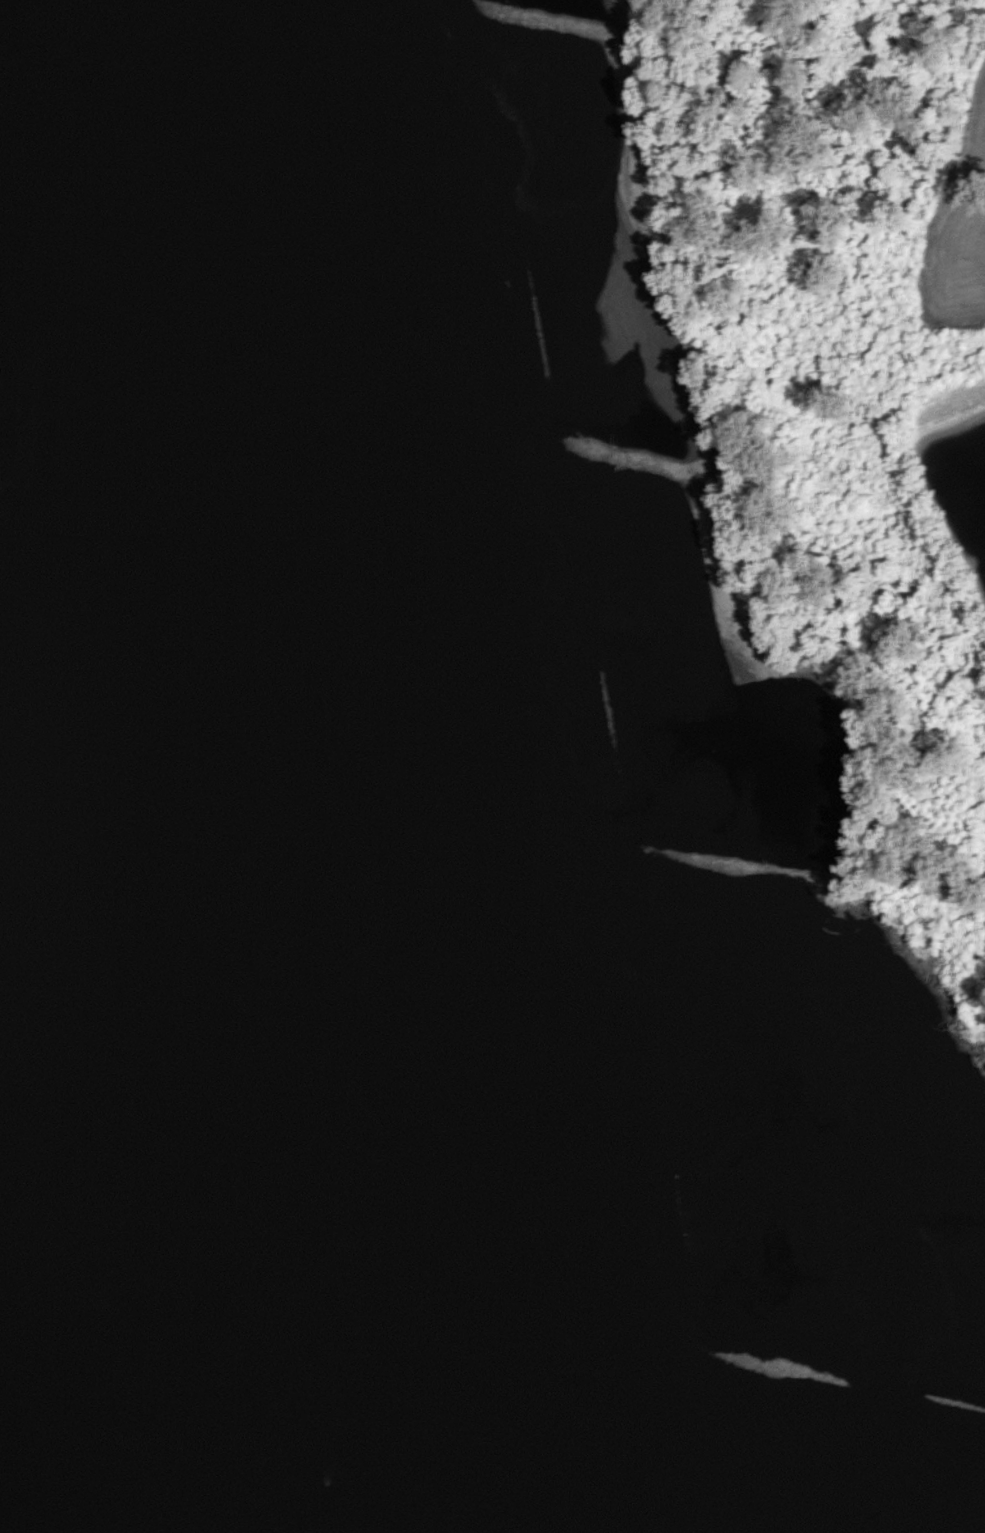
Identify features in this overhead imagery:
crop: (955, 231)
crop: (951, 467)
river: (346, 764)

